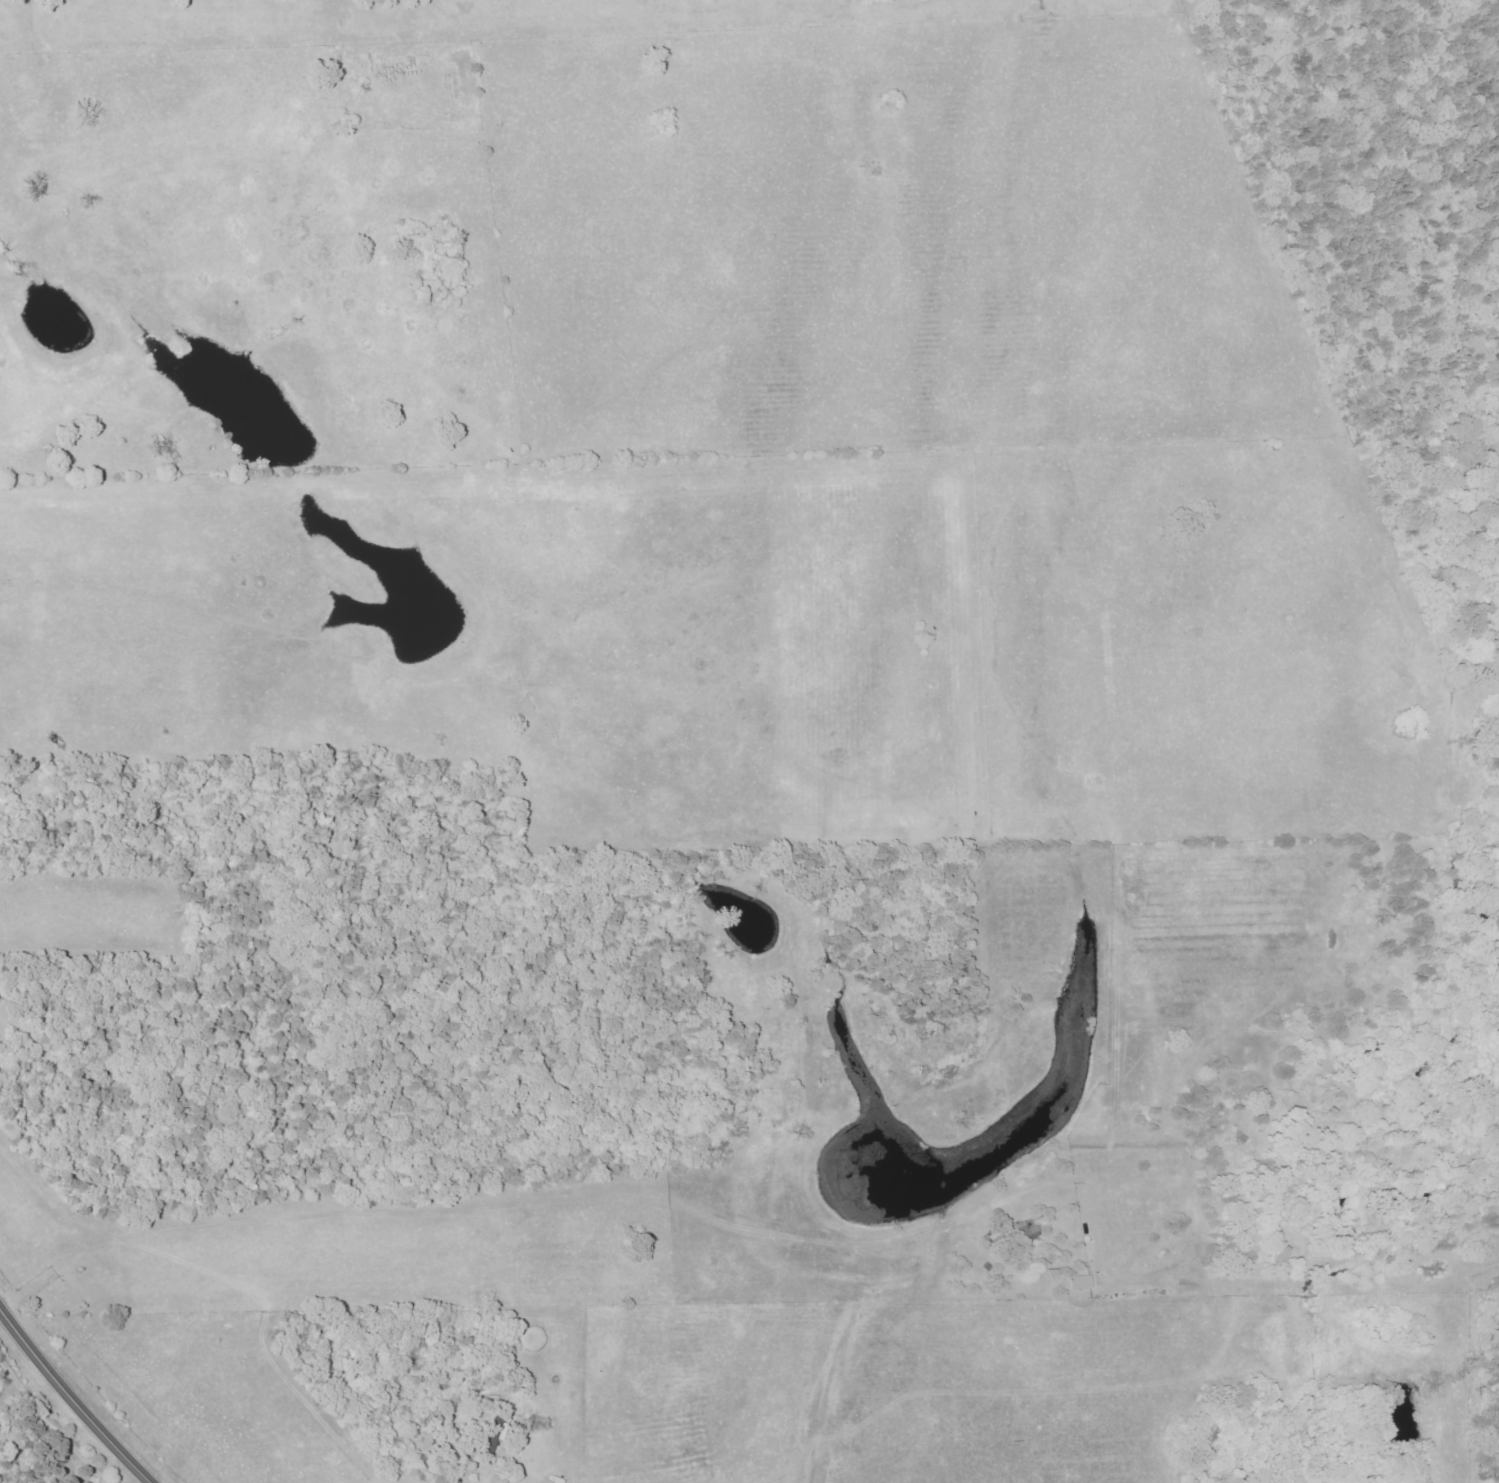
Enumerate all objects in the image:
building: (1023, 1232)
building: (1080, 1281)
road: (73, 1398)

